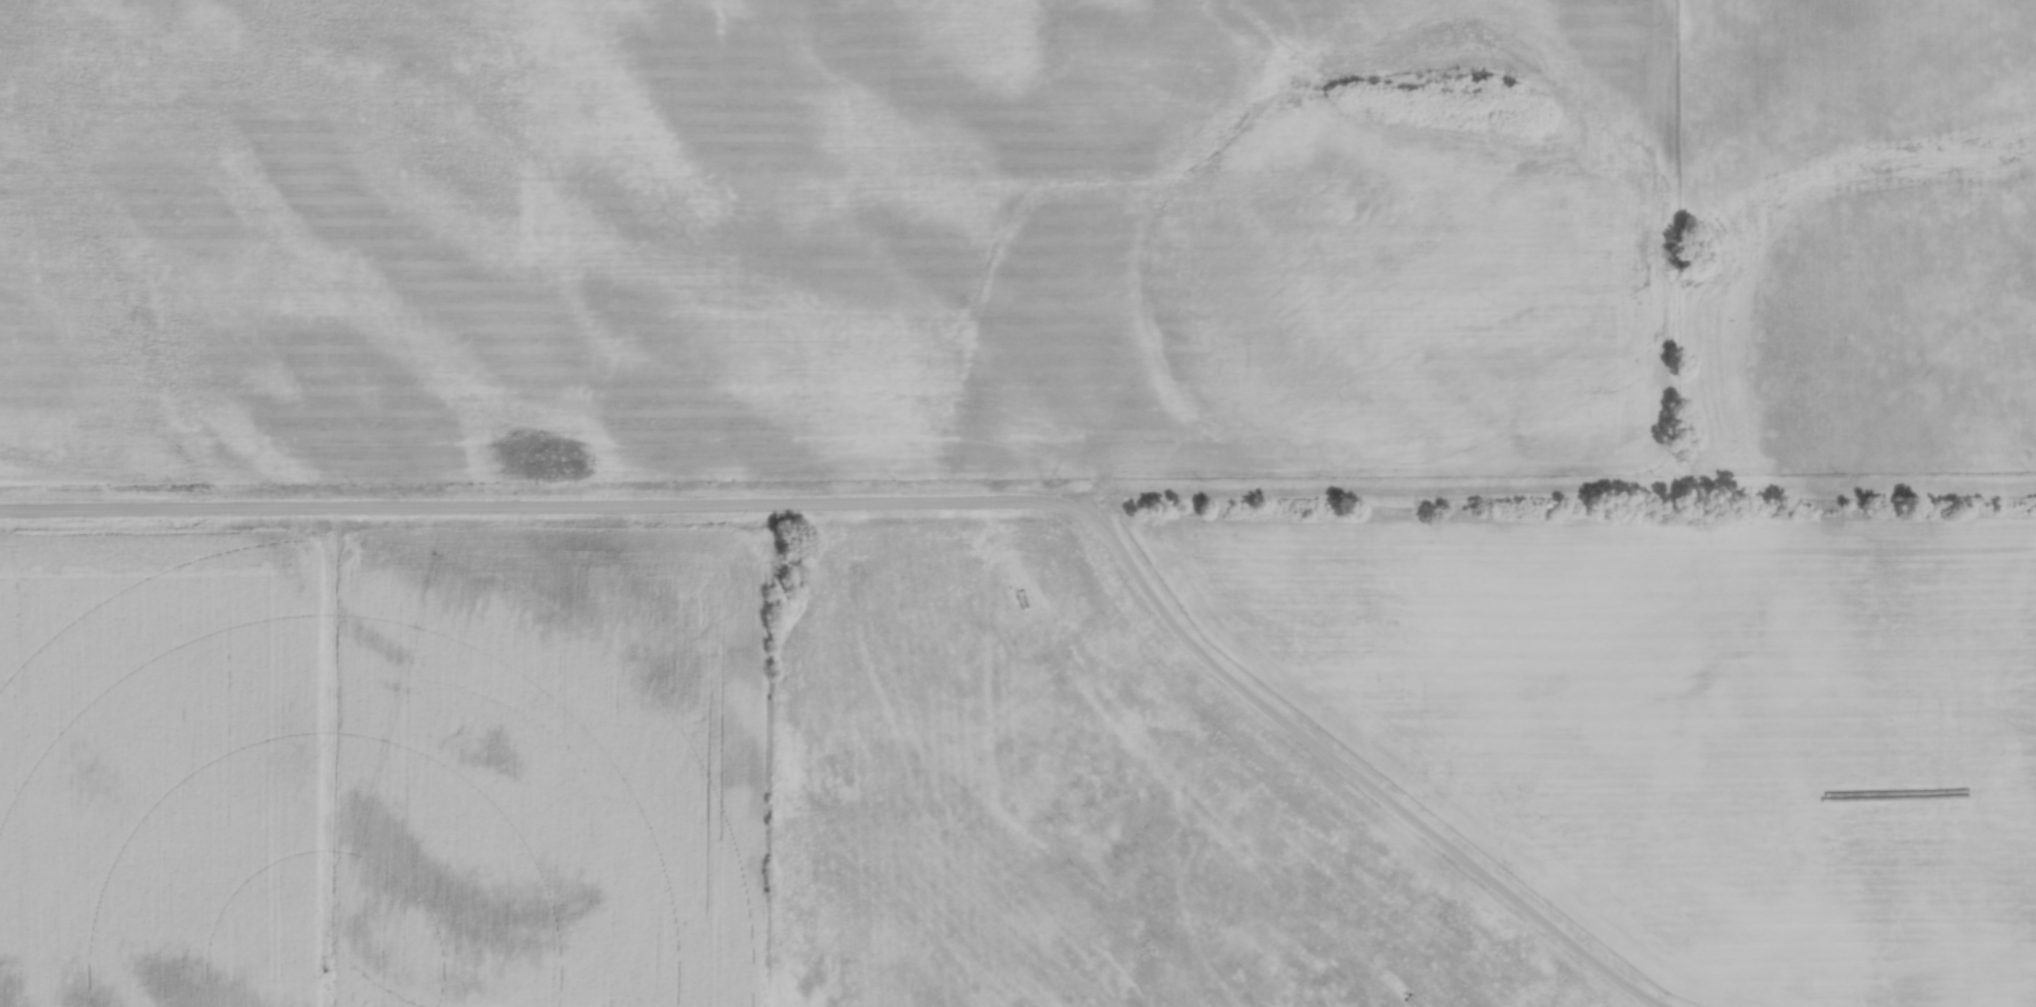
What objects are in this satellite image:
road: (530, 509)
road: (1343, 770)

